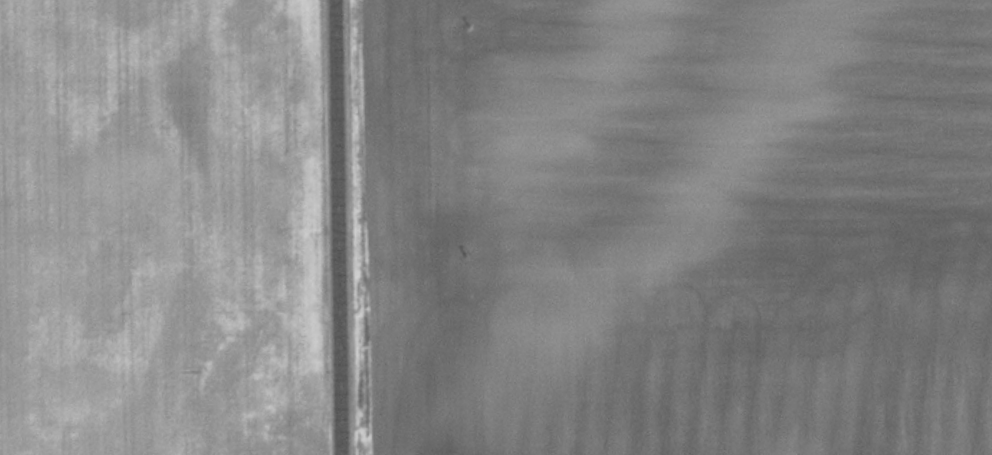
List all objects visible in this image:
road: (338, 227)

